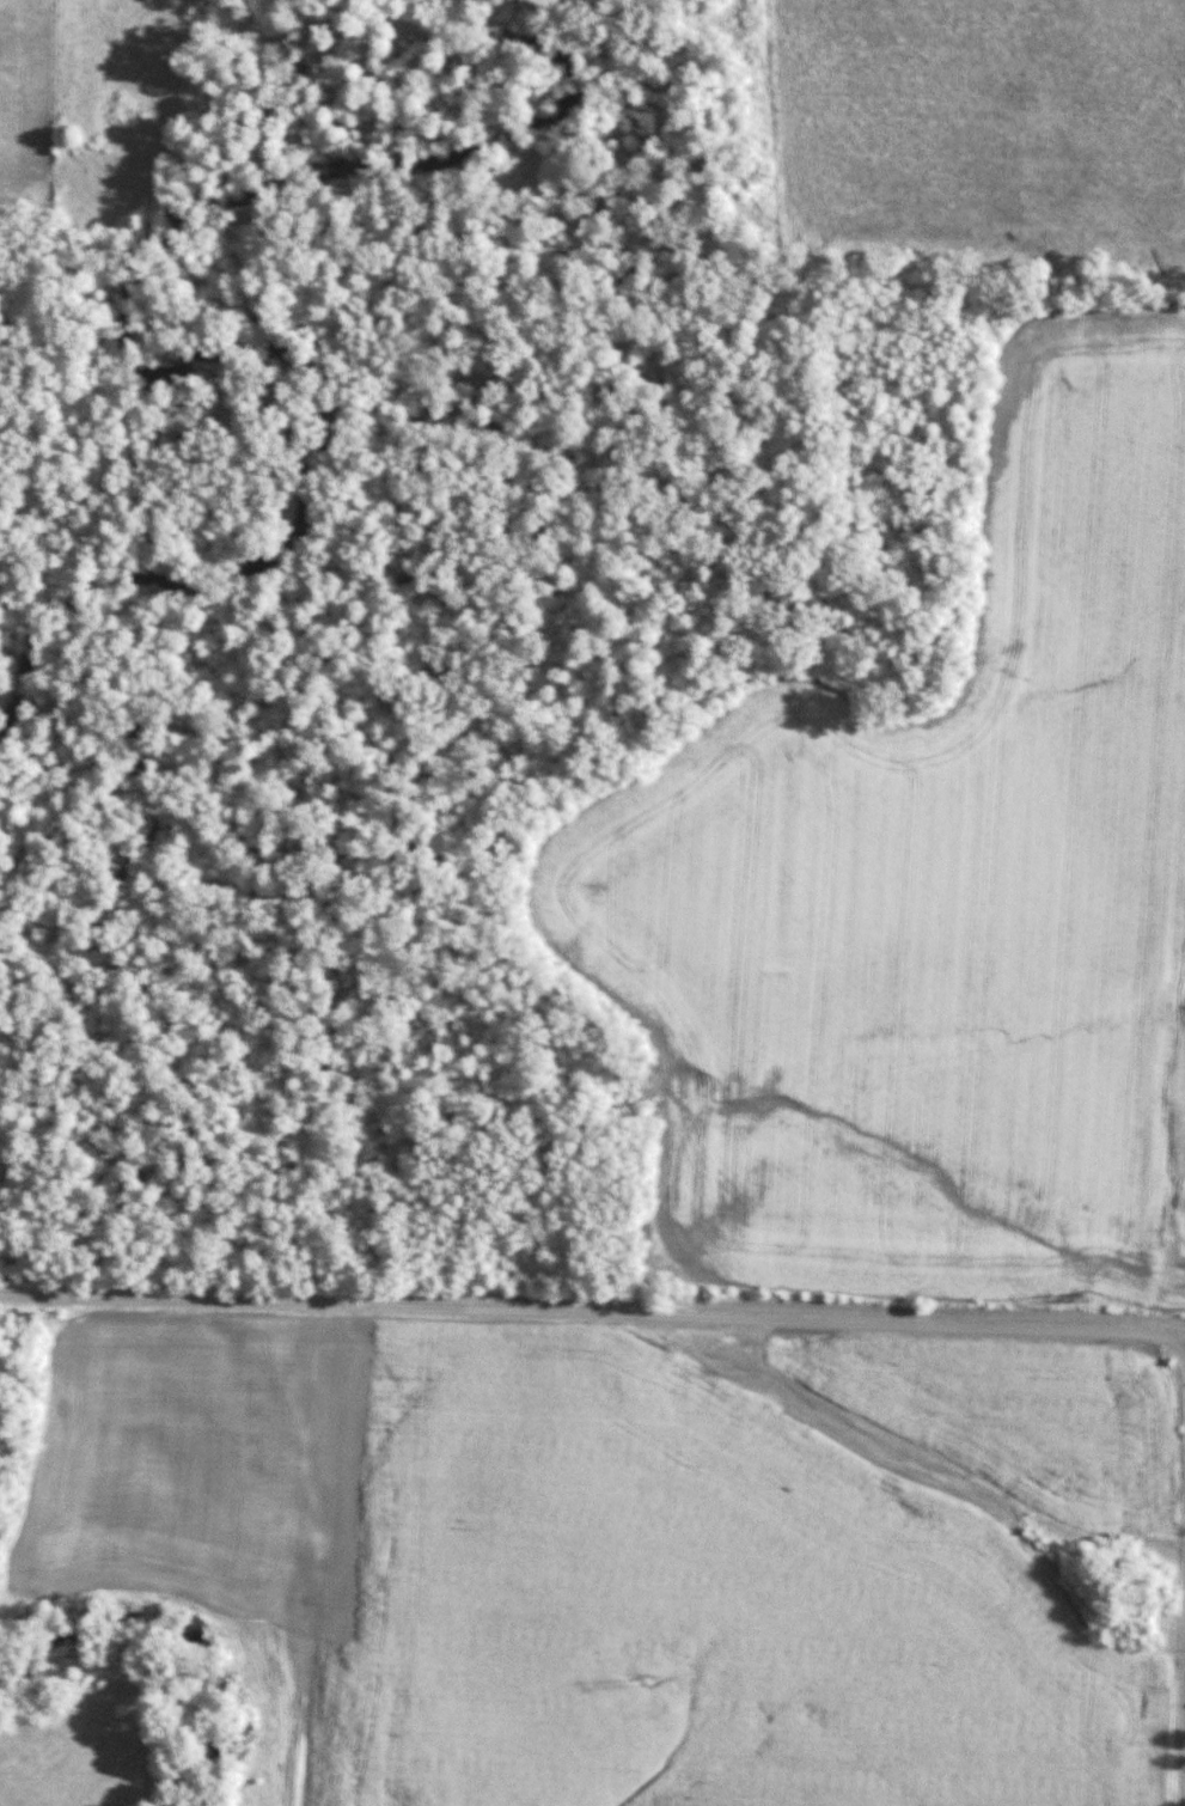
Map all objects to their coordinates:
road: (592, 1316)
road: (1184, 1784)

